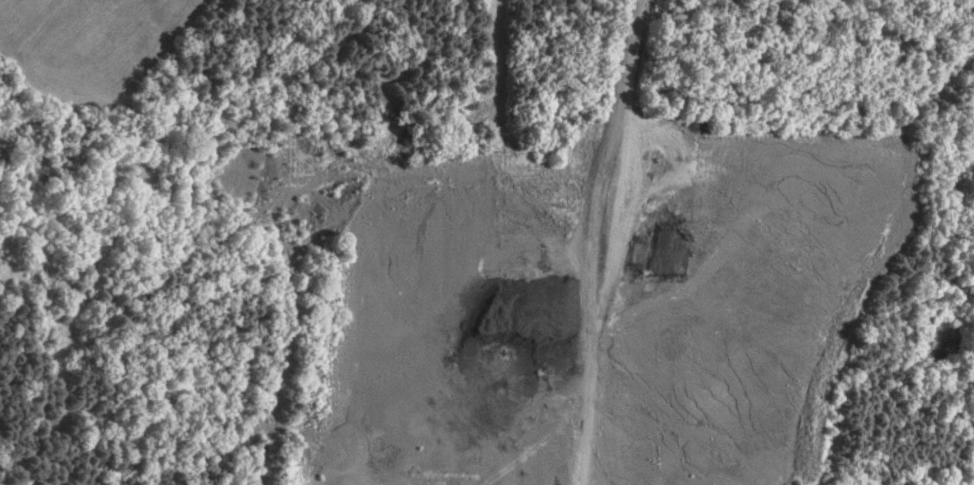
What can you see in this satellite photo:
road: (593, 240)
quarry: (557, 293)

